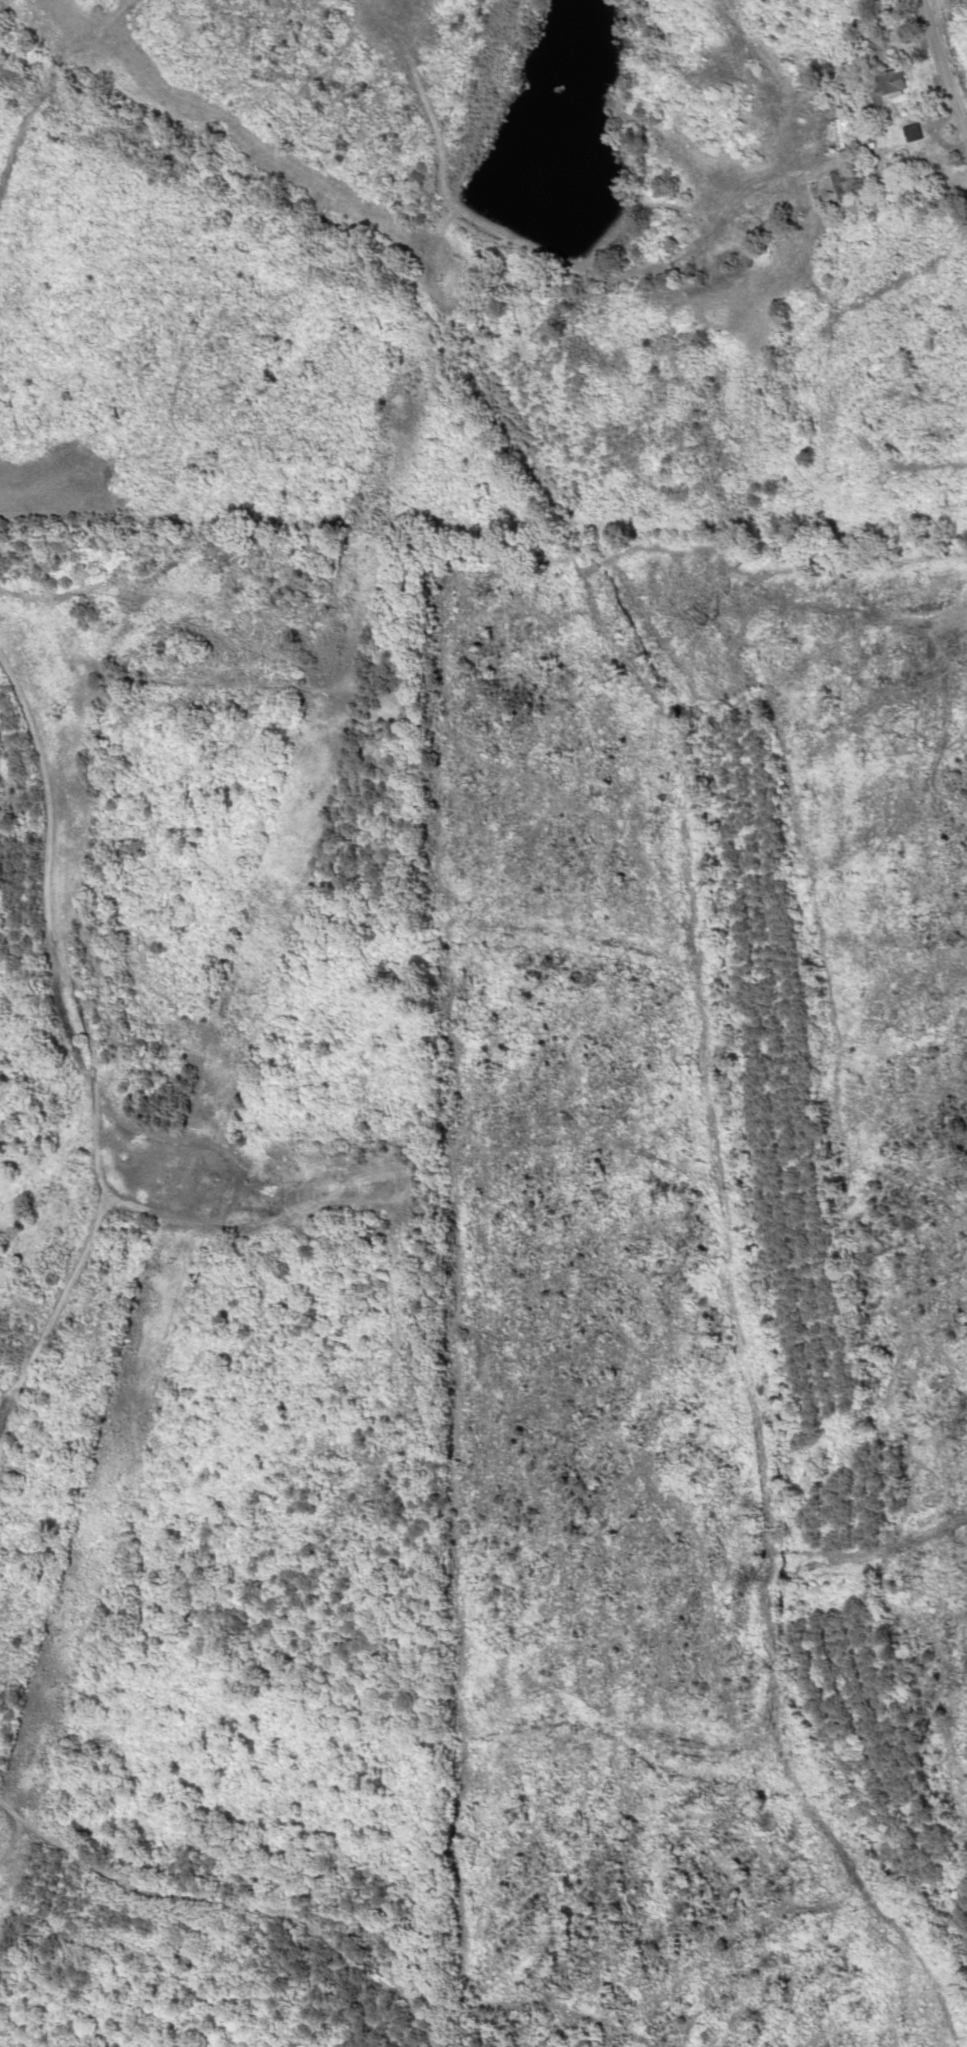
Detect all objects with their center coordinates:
road: (950, 43)
building: (888, 86)
building: (847, 183)

